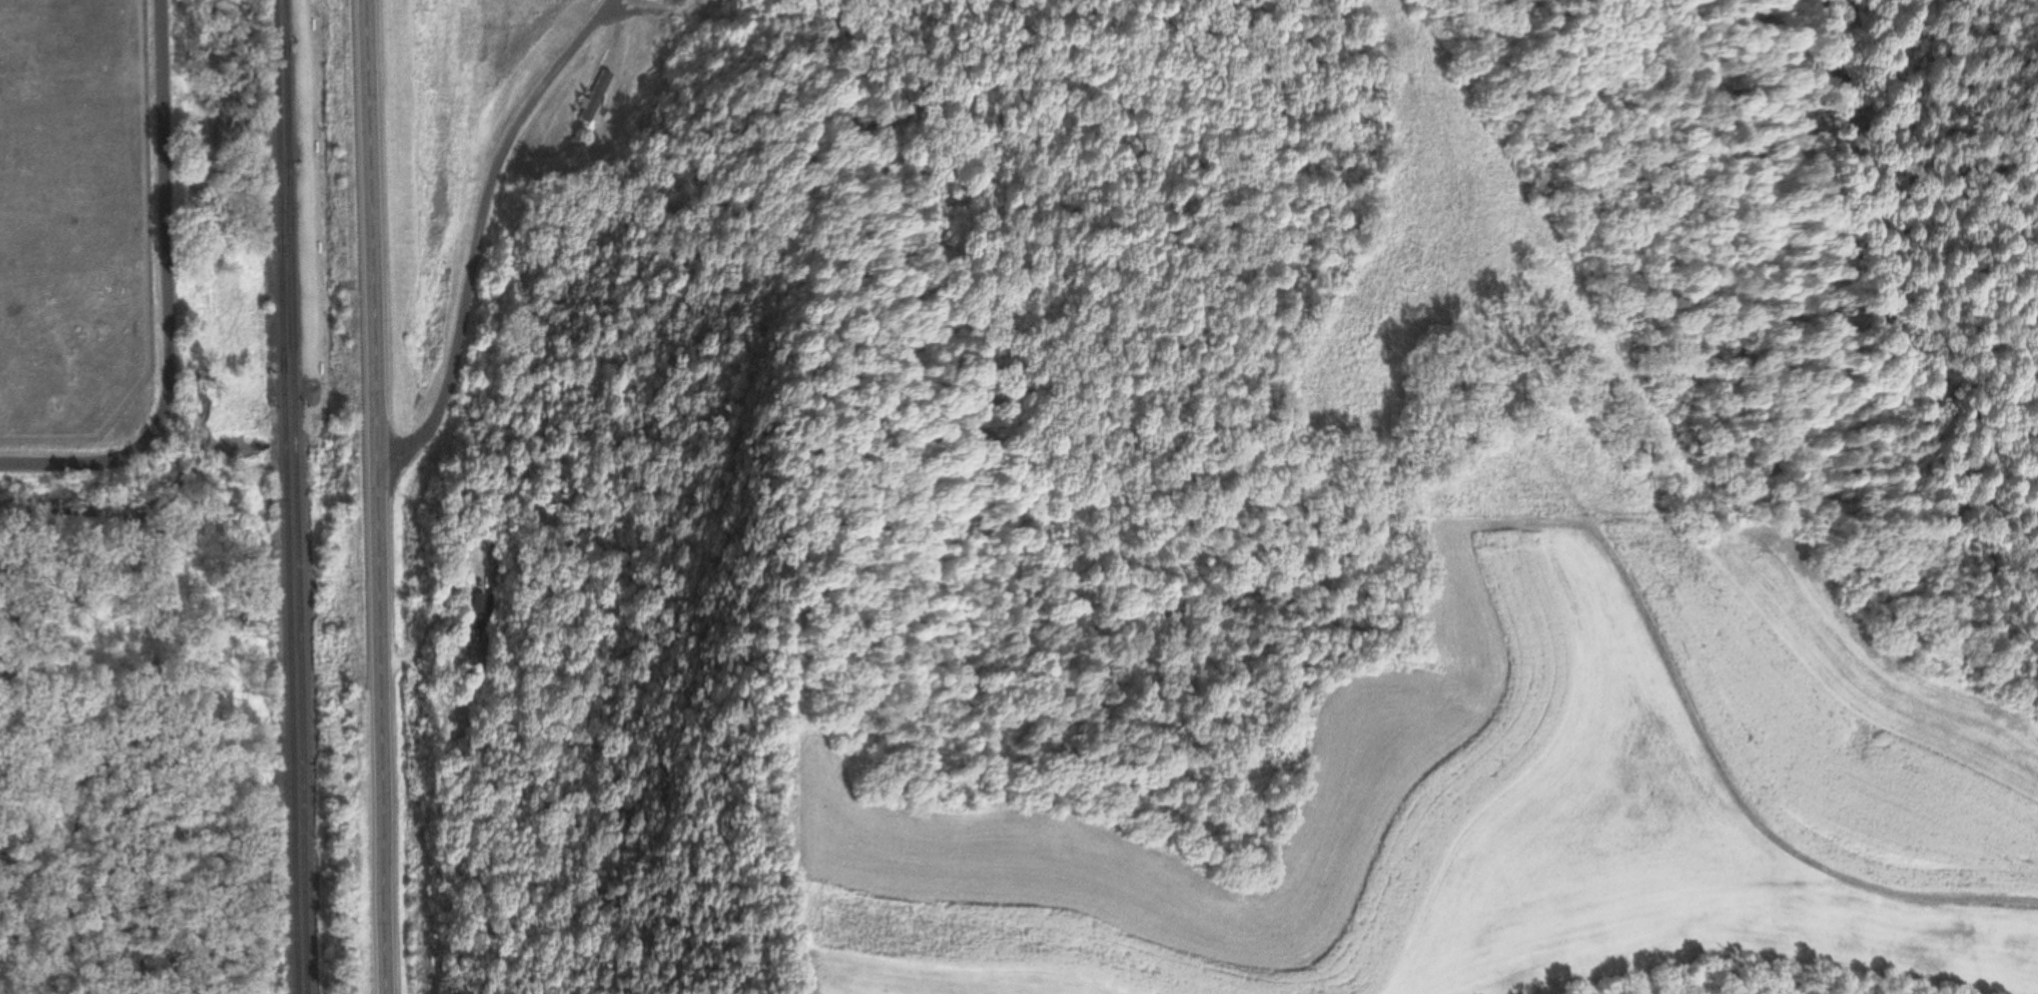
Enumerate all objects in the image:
road: (608, 2)
road: (661, 13)
road: (479, 237)
road: (164, 299)
road: (375, 496)
railway: (286, 497)
railway: (296, 497)

